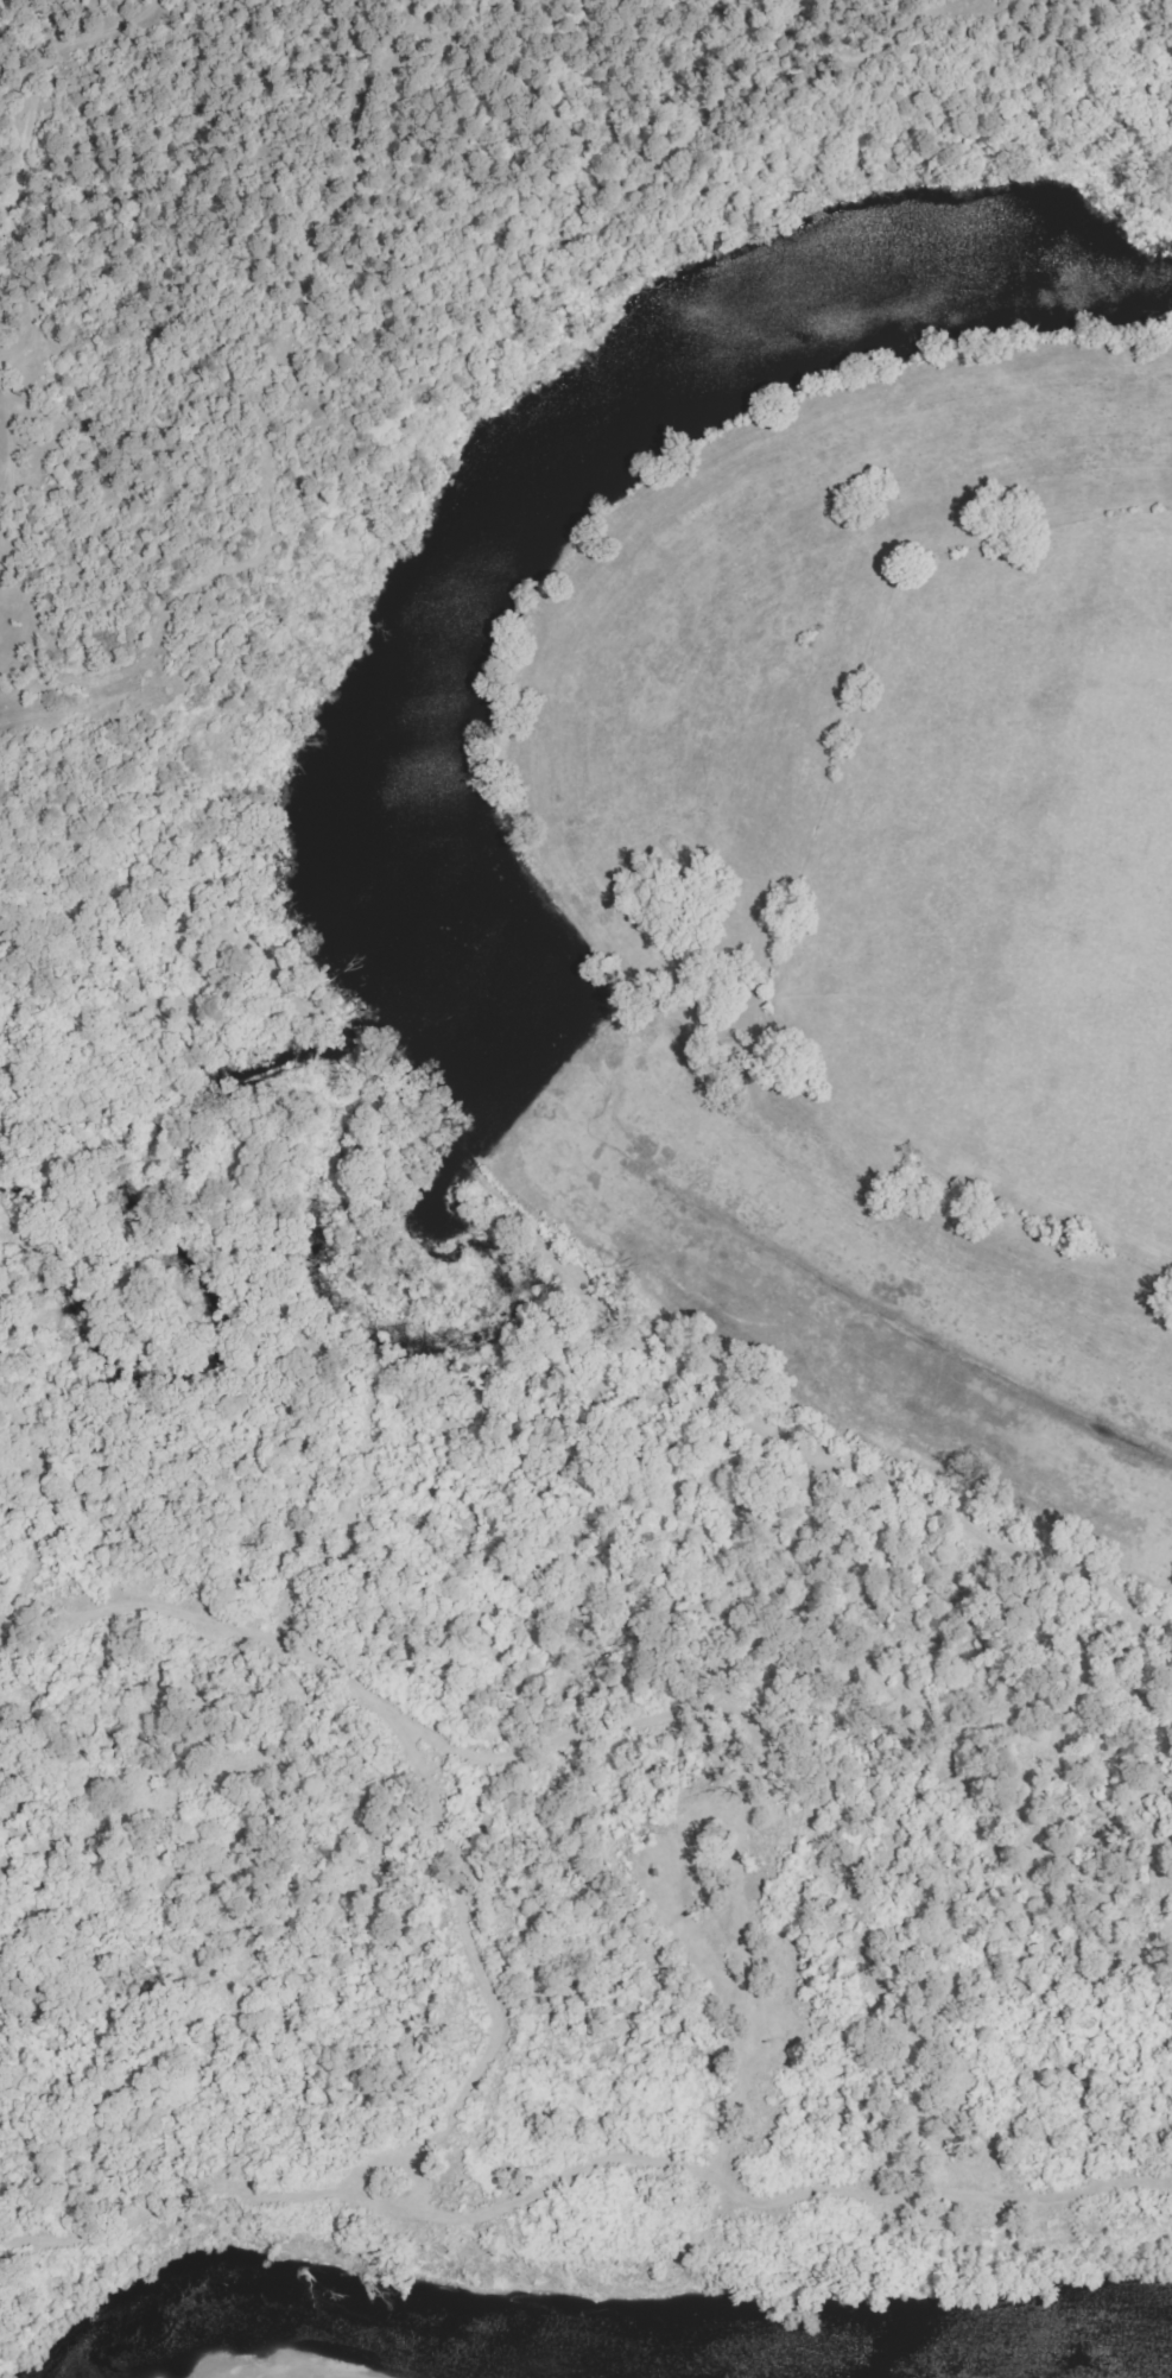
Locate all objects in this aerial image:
river: (399, 2335)
river: (974, 2353)

